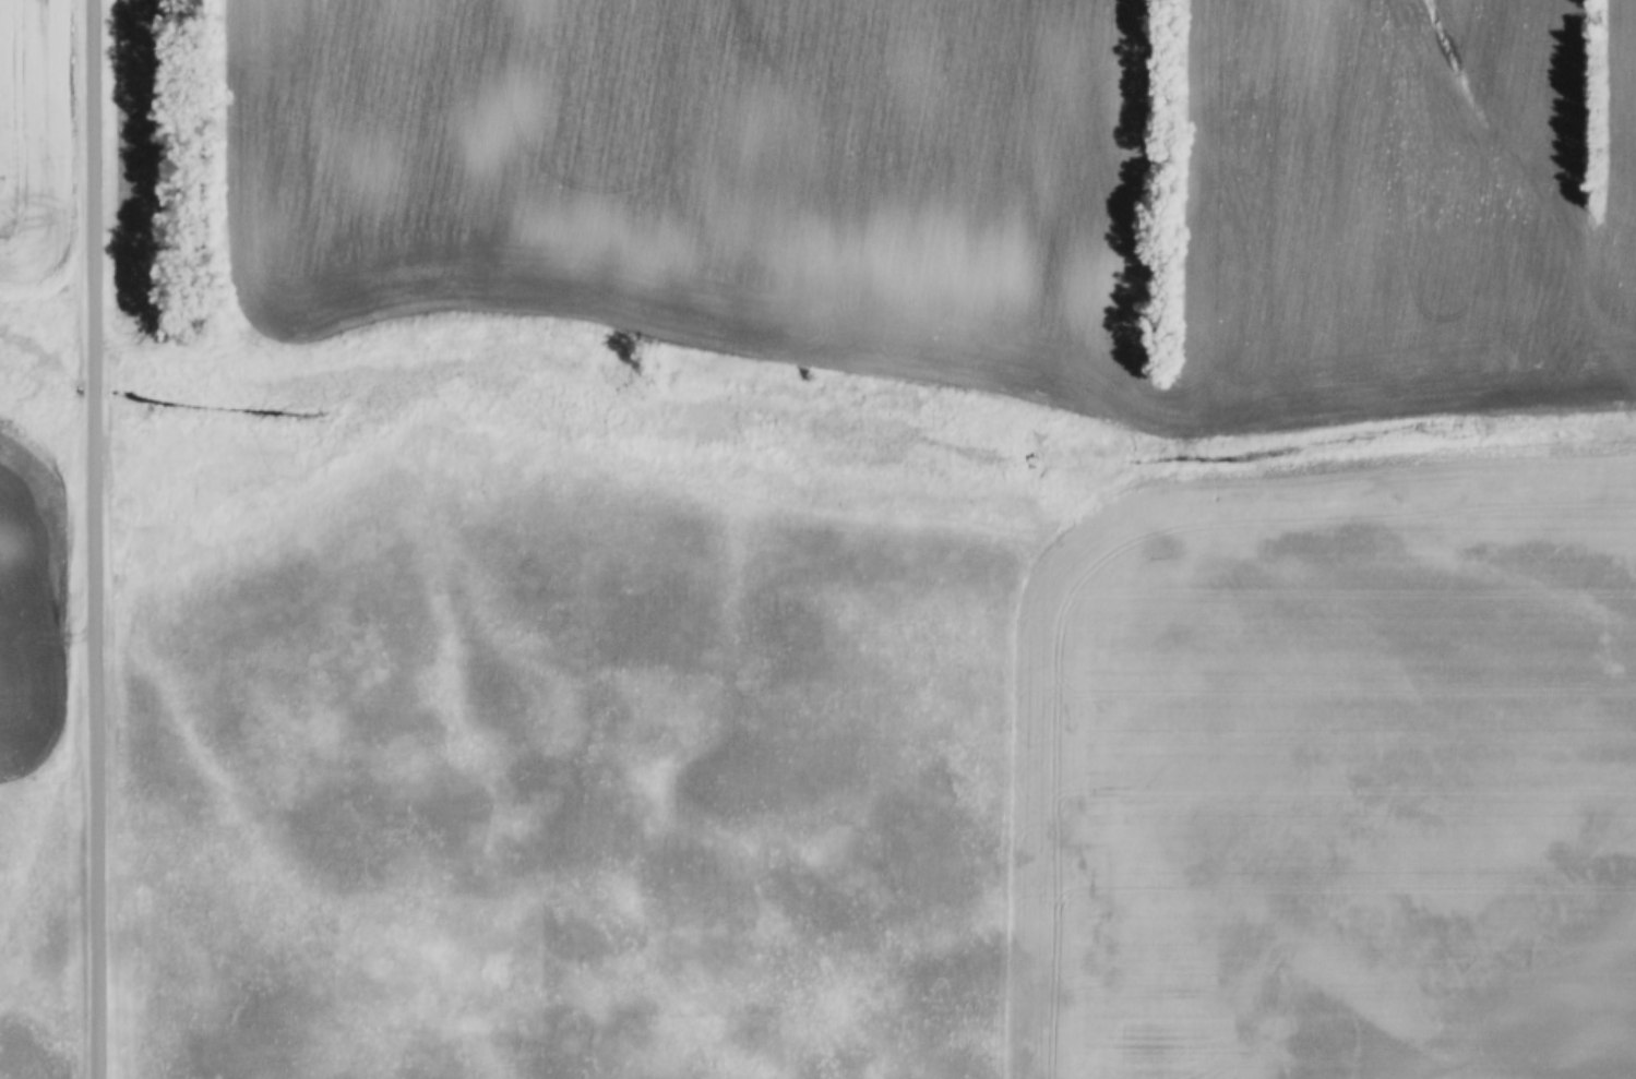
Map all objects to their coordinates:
road: (94, 539)

